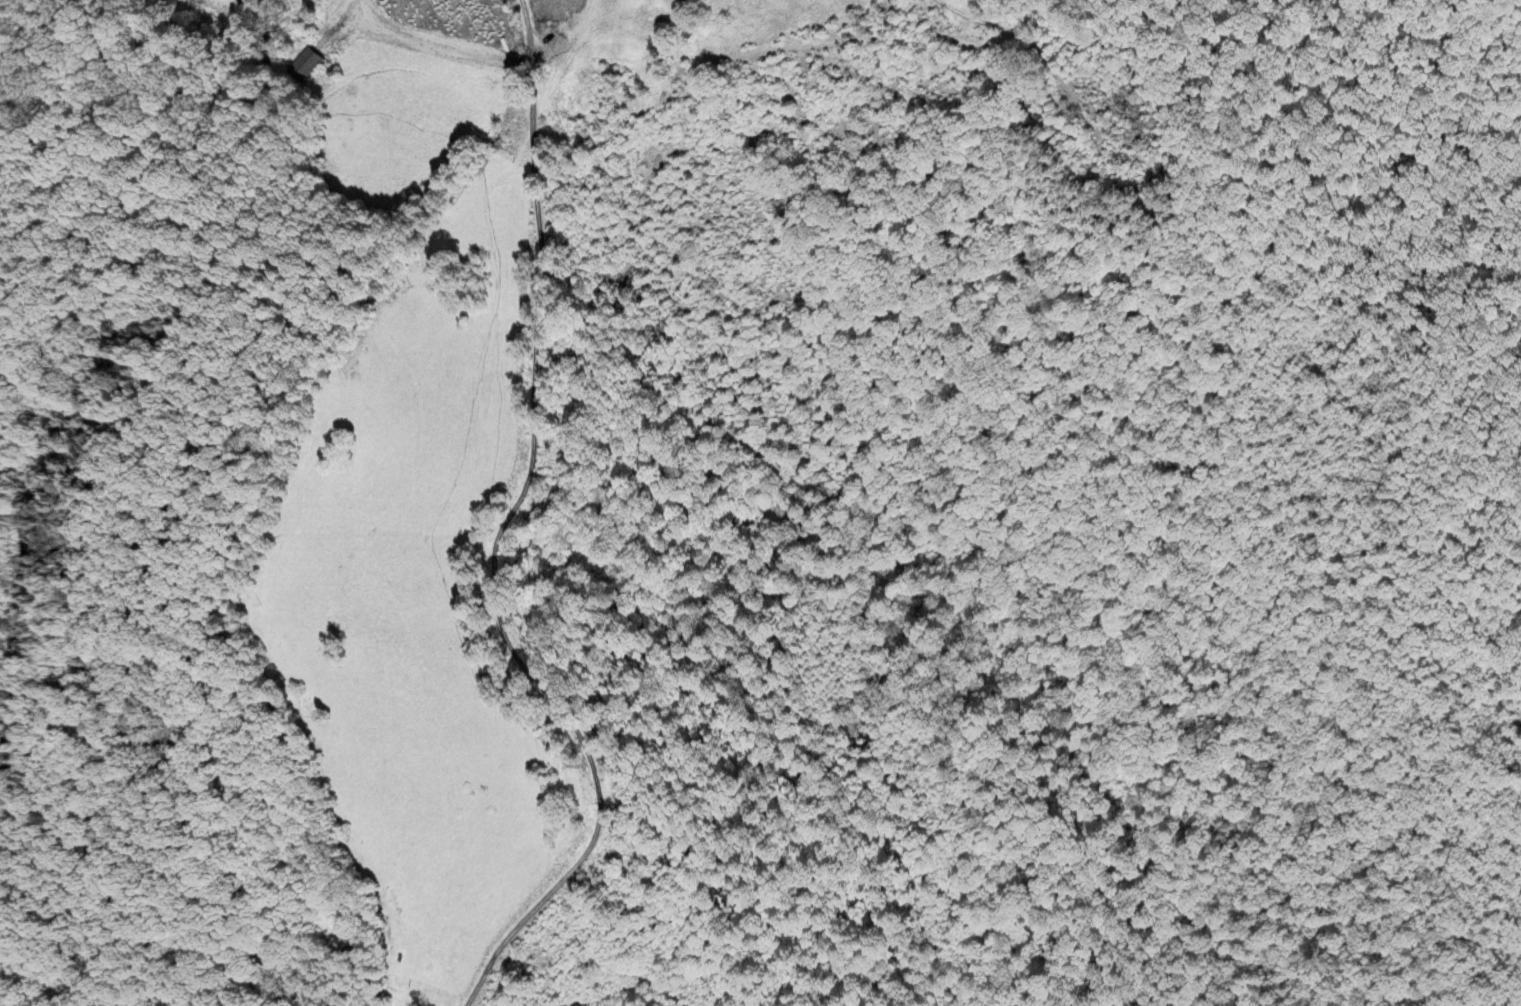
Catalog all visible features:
road: (500, 535)

